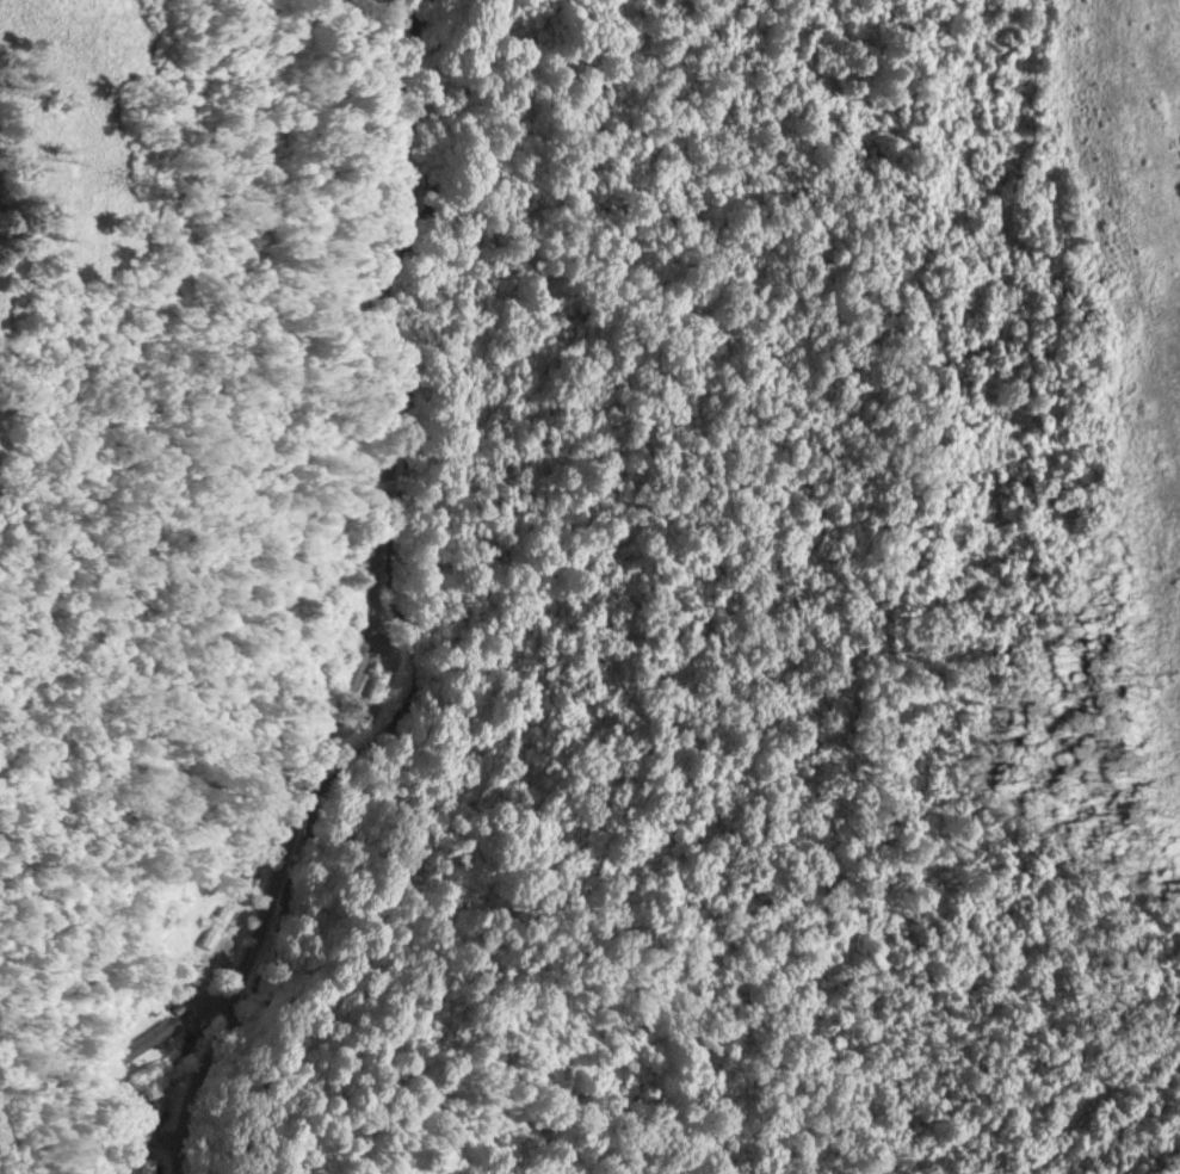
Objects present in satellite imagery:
road: (381, 600)
building: (378, 694)
building: (216, 926)
building: (146, 1040)
building: (155, 1114)
building: (154, 1164)

